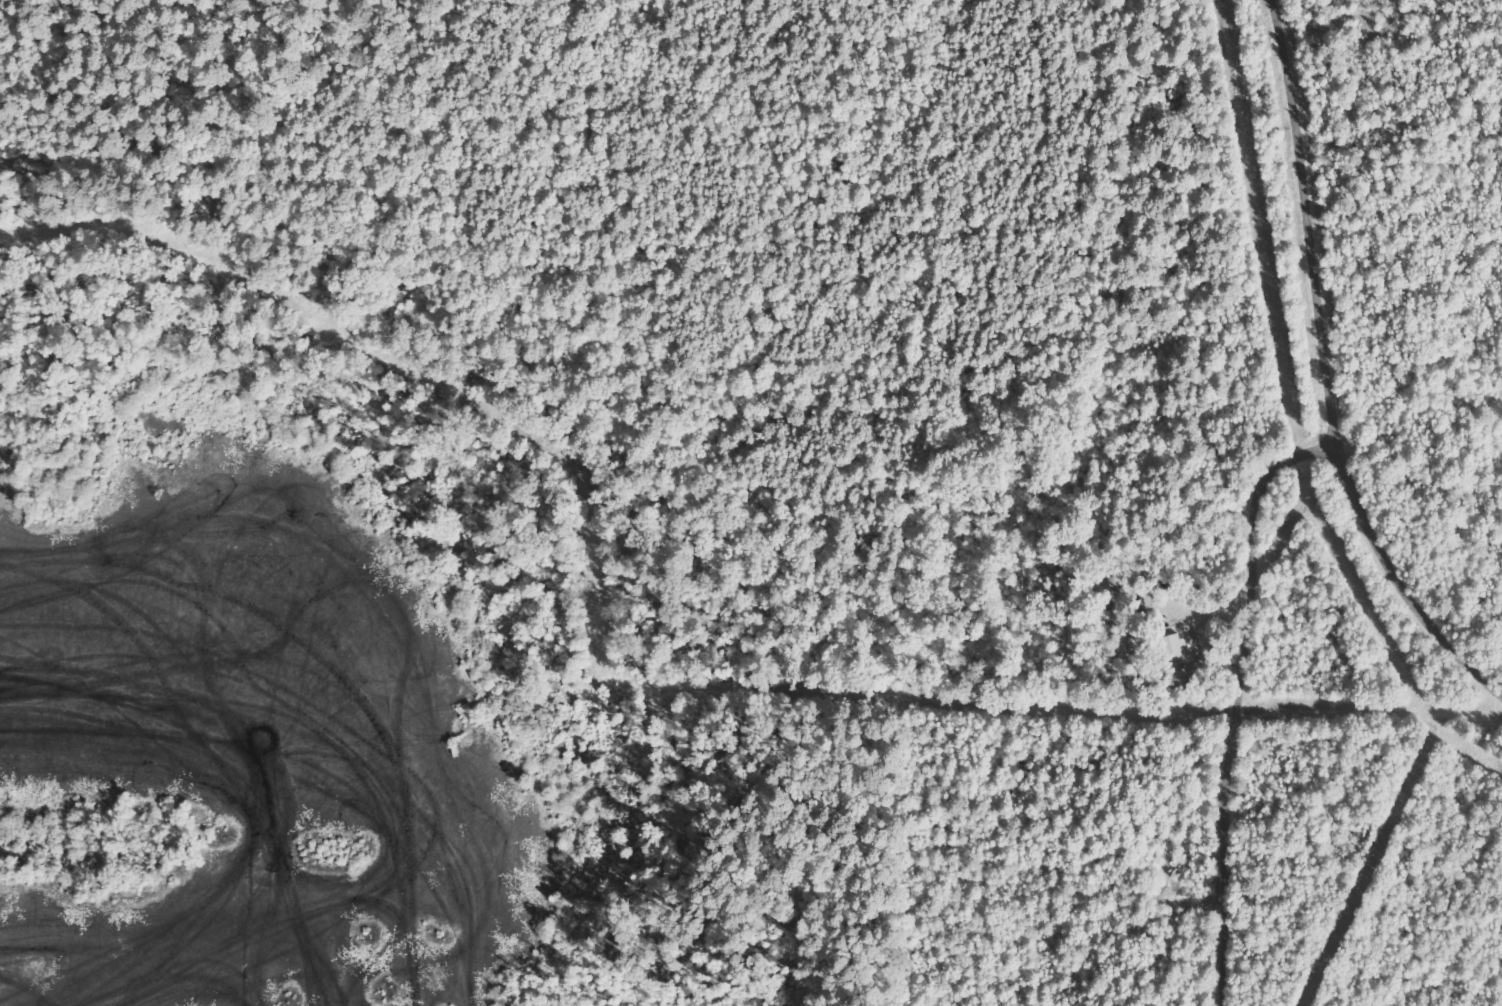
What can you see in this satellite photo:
road: (1282, 23)
road: (1319, 246)
road: (1400, 583)
road: (1238, 702)

